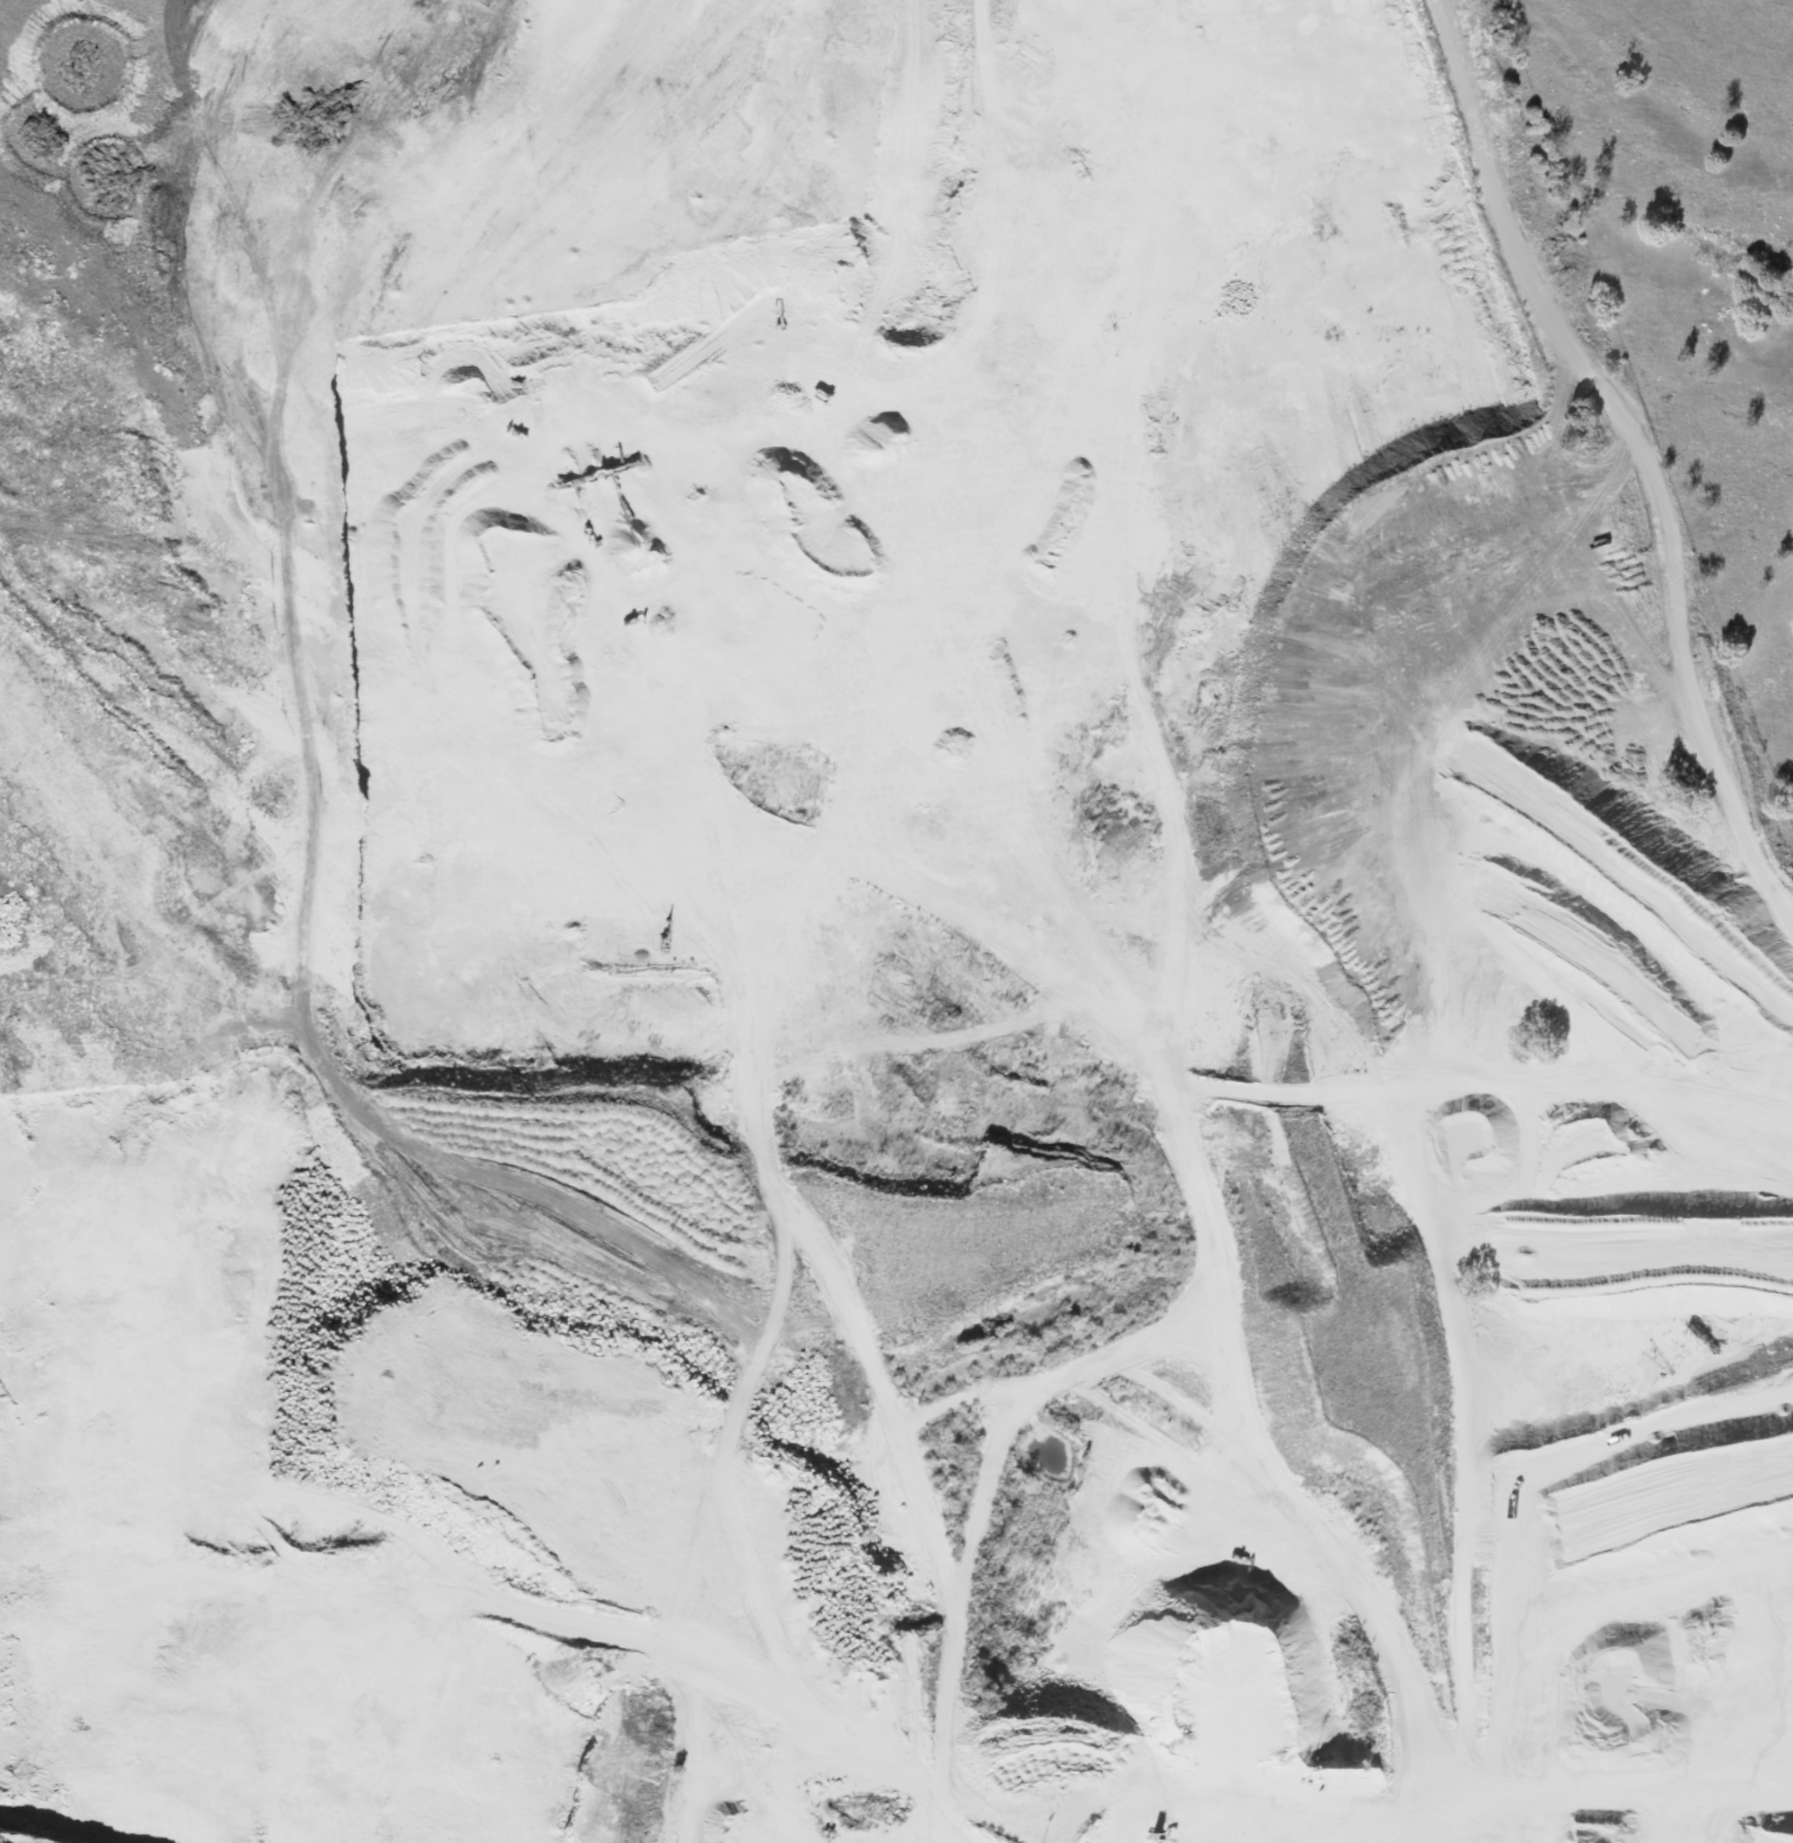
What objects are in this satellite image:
quarry: (1002, 1122)

